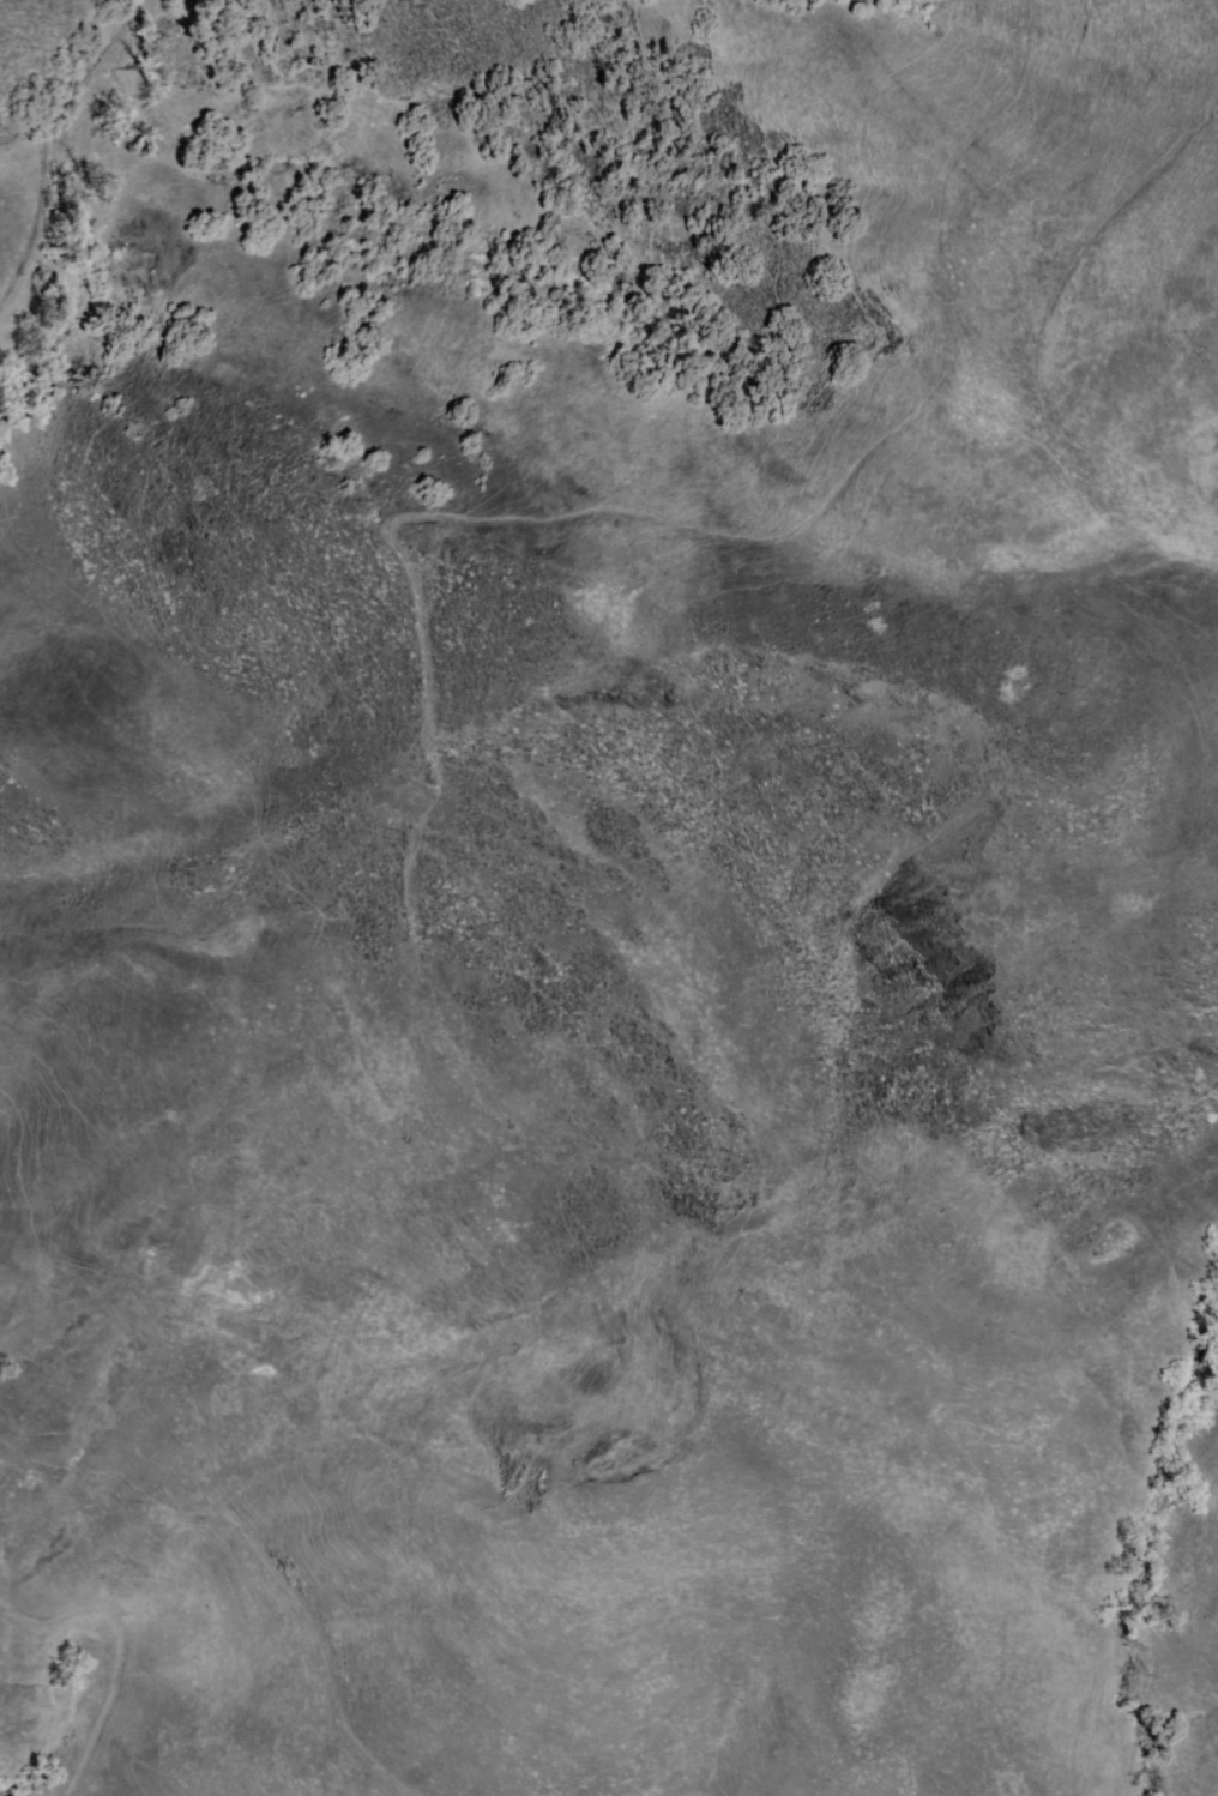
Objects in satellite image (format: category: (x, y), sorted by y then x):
road: (64, 153)
road: (123, 1649)

